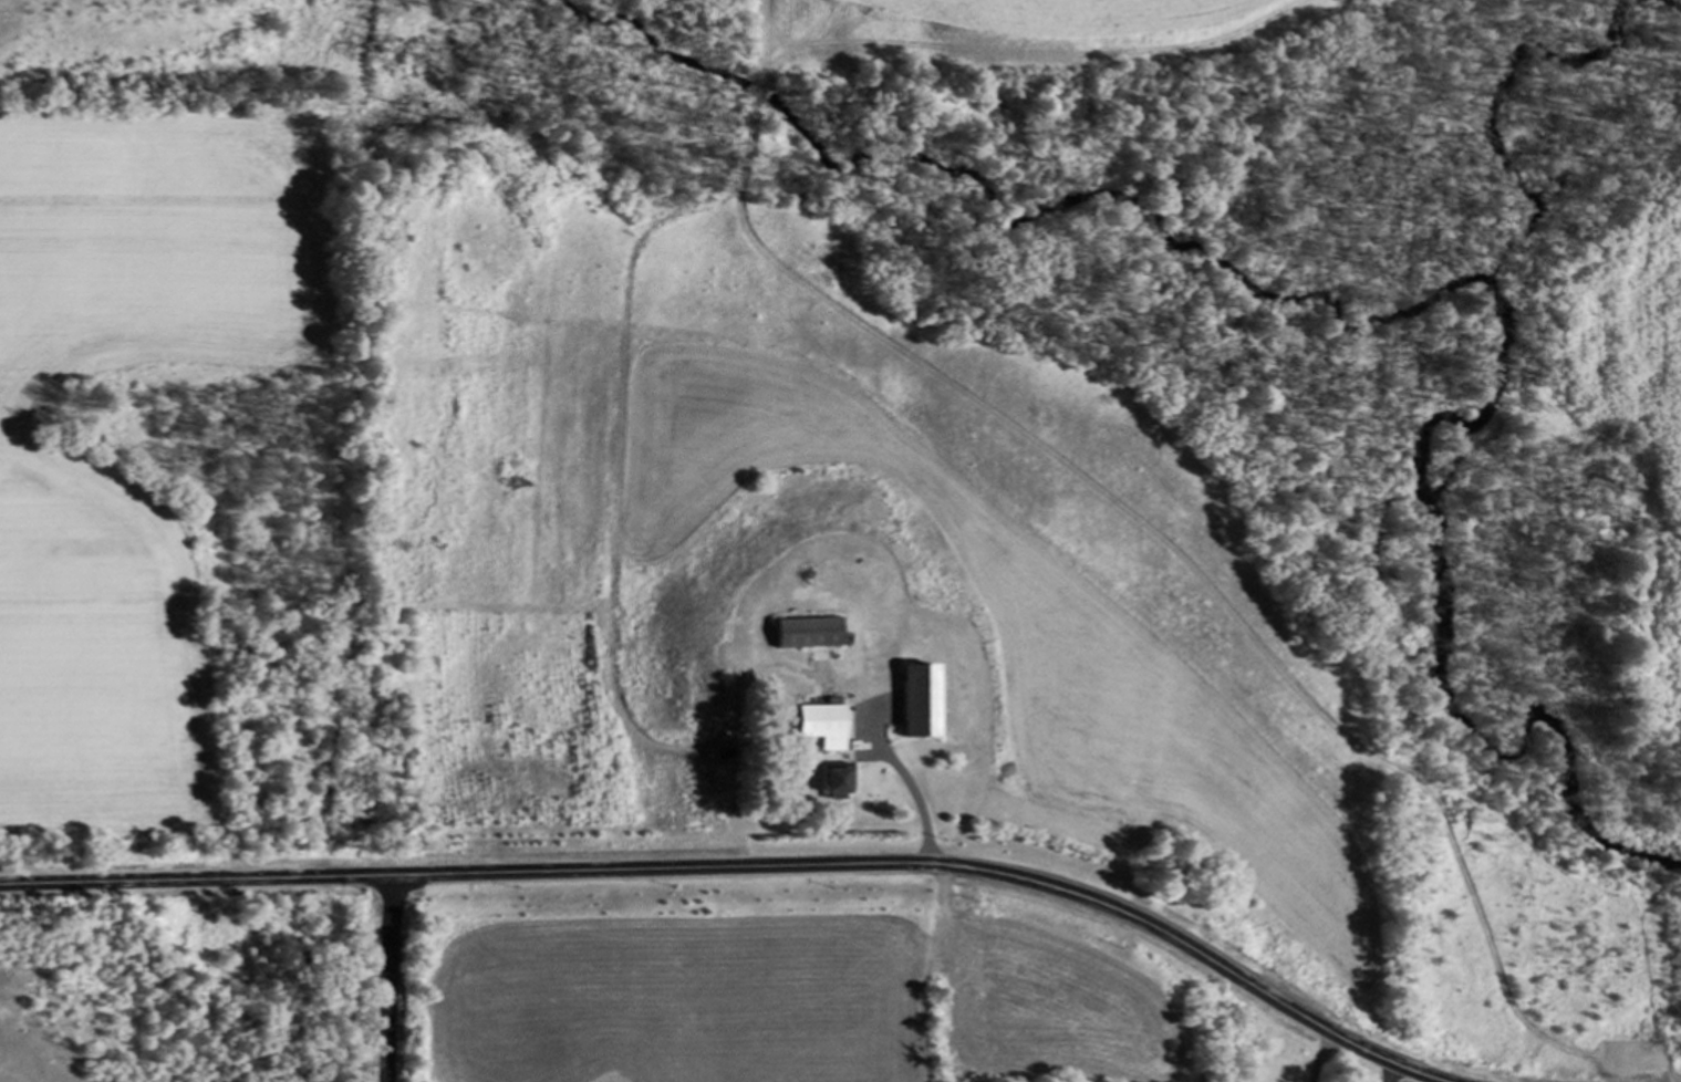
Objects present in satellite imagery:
building: (806, 633)
building: (914, 709)
building: (821, 726)
building: (834, 784)
road: (749, 866)
road: (387, 978)

